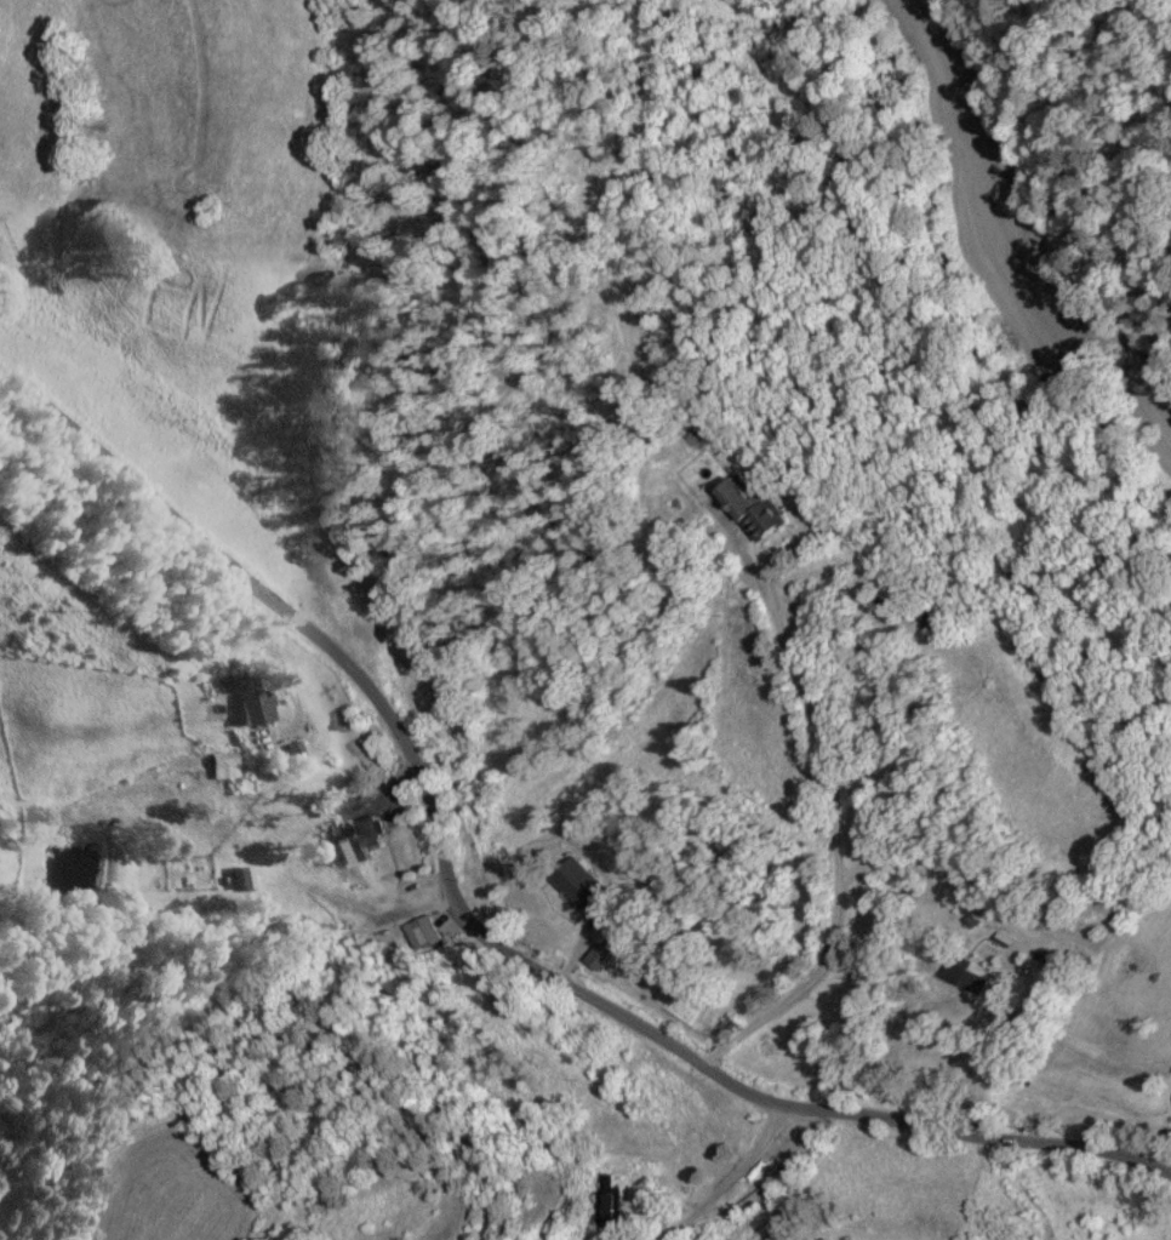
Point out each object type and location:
road: (827, 840)
road: (487, 921)
road: (1096, 1115)
road: (721, 1183)

